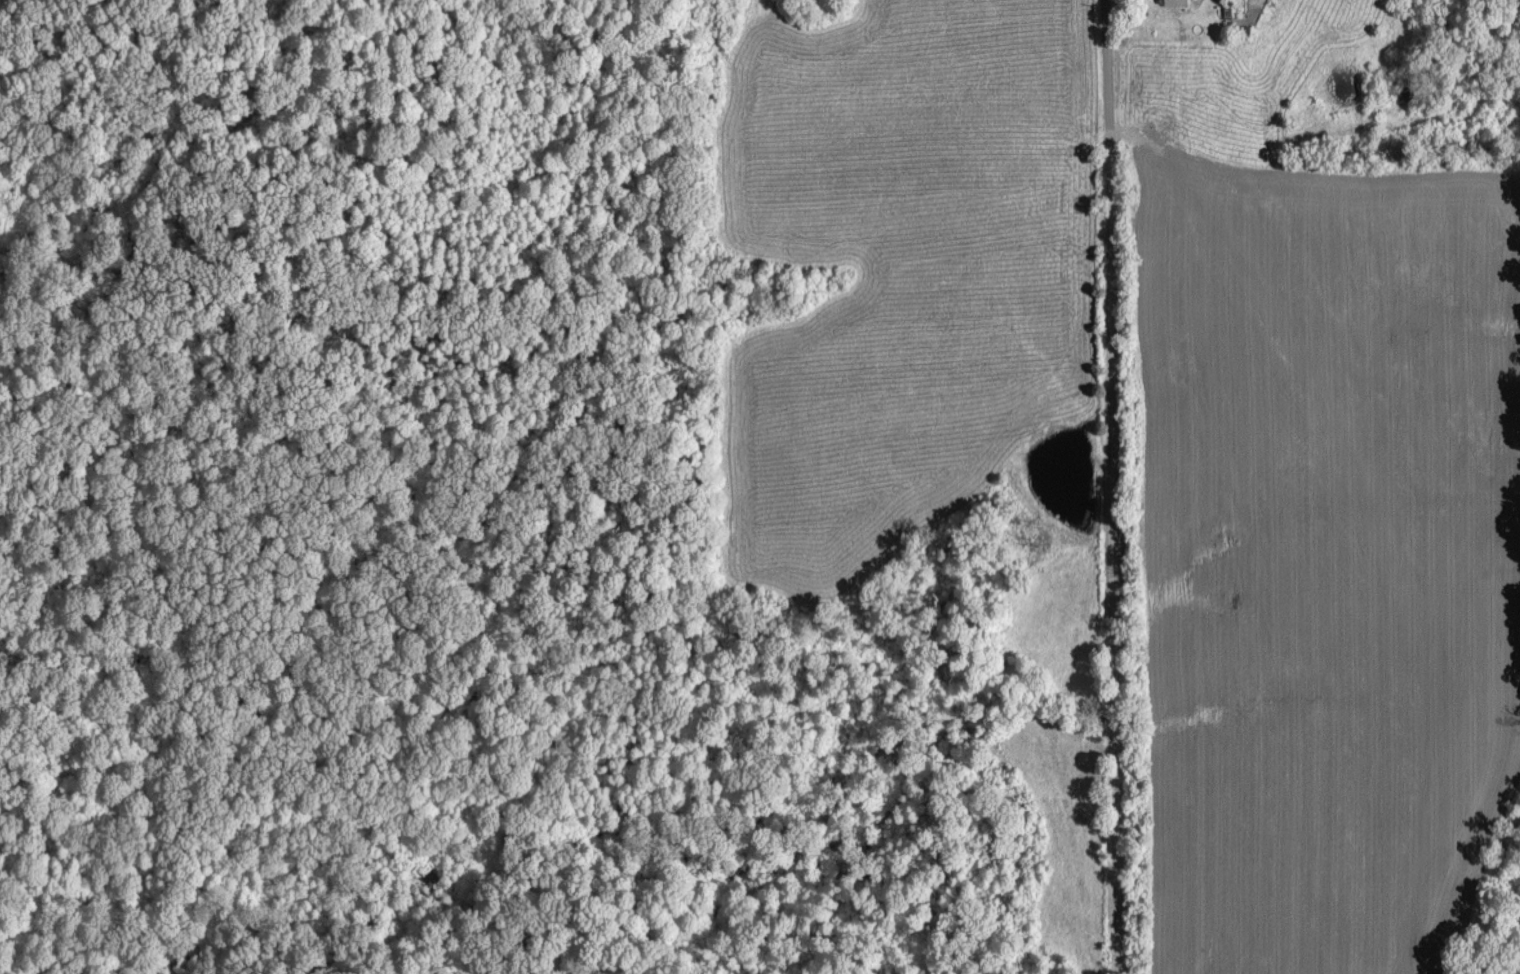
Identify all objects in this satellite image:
building: (1172, 2)
road: (1103, 4)
road: (1111, 491)

